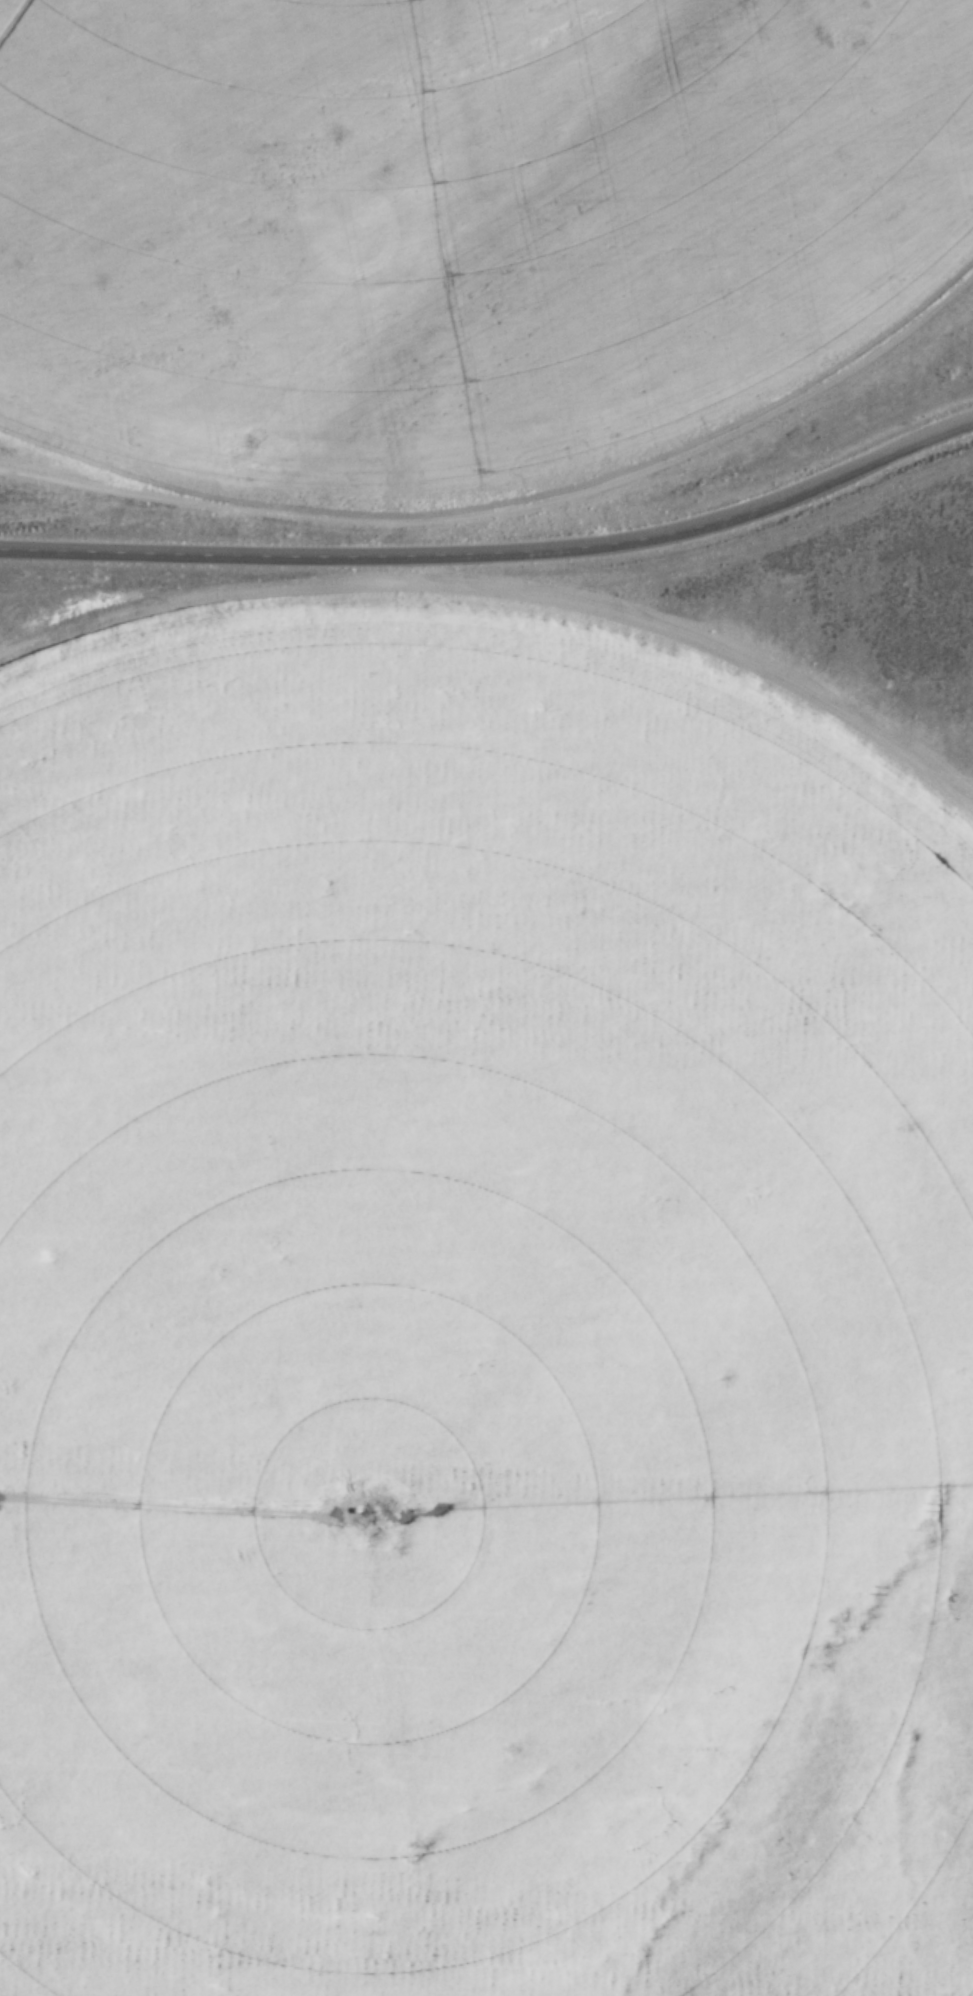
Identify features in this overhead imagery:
crop: (468, 253)
crop: (481, 1329)

